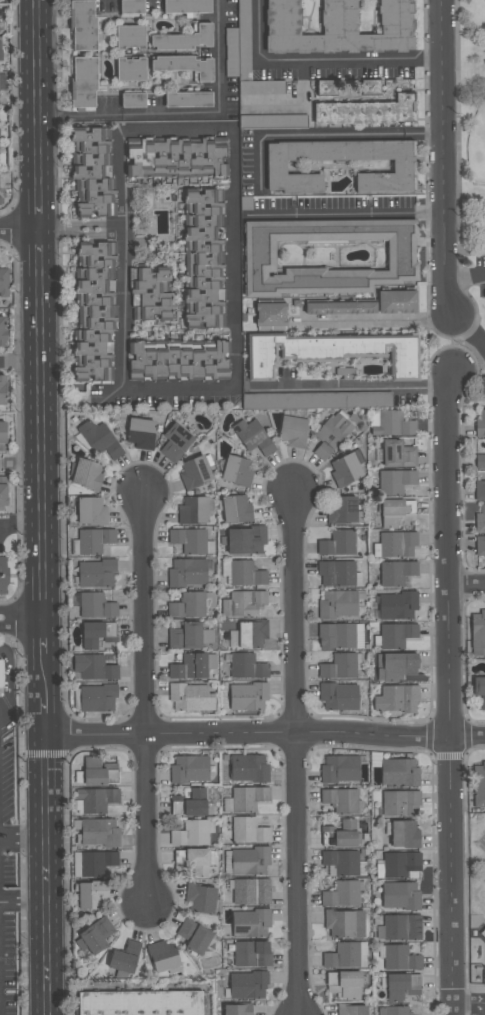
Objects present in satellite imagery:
park: (484, 2)
building: (186, 6)
building: (131, 7)
building: (82, 25)
building: (338, 28)
road: (258, 30)
building: (130, 38)
building: (184, 39)
building: (238, 50)
road: (219, 55)
road: (351, 63)
building: (183, 65)
building: (130, 70)
building: (2, 81)
building: (83, 82)
road: (37, 86)
building: (261, 87)
building: (326, 87)
building: (369, 87)
building: (188, 99)
building: (132, 100)
building: (366, 111)
road: (128, 115)
building: (273, 121)
road: (324, 135)
park: (477, 146)
road: (443, 158)
building: (174, 159)
building: (403, 166)
building: (93, 173)
park: (471, 198)
road: (38, 202)
road: (345, 214)
road: (19, 230)
road: (81, 230)
road: (39, 253)
road: (474, 254)
building: (328, 255)
parking lot: (476, 275)
road: (464, 277)
building: (3, 283)
building: (150, 295)
building: (396, 302)
building: (340, 308)
building: (97, 309)
building: (270, 315)
road: (379, 322)
building: (2, 331)
road: (470, 331)
parking lot: (477, 340)
road: (455, 344)
building: (328, 354)
road: (475, 361)
road: (20, 363)
building: (178, 363)
road: (481, 369)
road: (351, 384)
road: (480, 387)
building: (2, 390)
road: (237, 390)
building: (316, 400)
building: (480, 424)
building: (392, 425)
building: (293, 431)
building: (140, 433)
building: (331, 435)
building: (2, 436)
building: (253, 437)
building: (98, 440)
building: (175, 443)
road: (42, 448)
building: (398, 454)
building: (480, 461)
road: (21, 467)
building: (345, 470)
building: (236, 471)
building: (194, 472)
building: (87, 474)
building: (395, 482)
building: (480, 490)
building: (3, 492)
building: (236, 509)
building: (342, 510)
building: (91, 511)
building: (193, 511)
building: (396, 512)
building: (480, 520)
road: (22, 527)
building: (94, 540)
building: (246, 540)
building: (191, 541)
building: (337, 544)
building: (395, 545)
building: (480, 546)
building: (95, 573)
building: (187, 573)
building: (396, 573)
building: (245, 574)
building: (338, 574)
building: (2, 575)
road: (467, 586)
building: (243, 604)
building: (338, 604)
building: (96, 606)
building: (188, 606)
building: (397, 606)
road: (10, 614)
road: (32, 621)
road: (9, 626)
building: (478, 633)
building: (97, 634)
building: (248, 635)
building: (396, 635)
building: (185, 636)
building: (340, 636)
road: (45, 639)
building: (341, 666)
building: (395, 666)
building: (189, 667)
building: (247, 667)
building: (94, 668)
building: (1, 673)
road: (7, 677)
road: (45, 678)
building: (479, 689)
road: (449, 693)
building: (247, 696)
building: (339, 697)
building: (97, 698)
building: (191, 698)
building: (396, 699)
road: (147, 702)
road: (46, 719)
road: (265, 739)
road: (297, 755)
building: (248, 768)
building: (189, 769)
building: (339, 769)
building: (399, 772)
building: (98, 773)
building: (478, 785)
building: (245, 799)
building: (96, 800)
building: (342, 800)
building: (189, 804)
building: (400, 804)
building: (248, 831)
building: (99, 833)
building: (343, 833)
building: (191, 834)
building: (402, 834)
road: (23, 842)
building: (250, 861)
building: (96, 862)
building: (227, 862)
building: (194, 863)
building: (344, 863)
building: (397, 865)
road: (47, 876)
building: (484, 879)
building: (251, 892)
building: (91, 895)
building: (341, 895)
building: (400, 896)
building: (201, 898)
road: (24, 902)
building: (250, 923)
building: (344, 924)
building: (400, 928)
building: (194, 936)
building: (94, 937)
building: (251, 954)
building: (163, 956)
building: (346, 956)
building: (124, 958)
building: (399, 958)
building: (345, 984)
building: (247, 985)
building: (402, 987)
building: (139, 1003)
road: (469, 1003)
building: (237, 1009)
building: (351, 1010)
building: (397, 1011)

